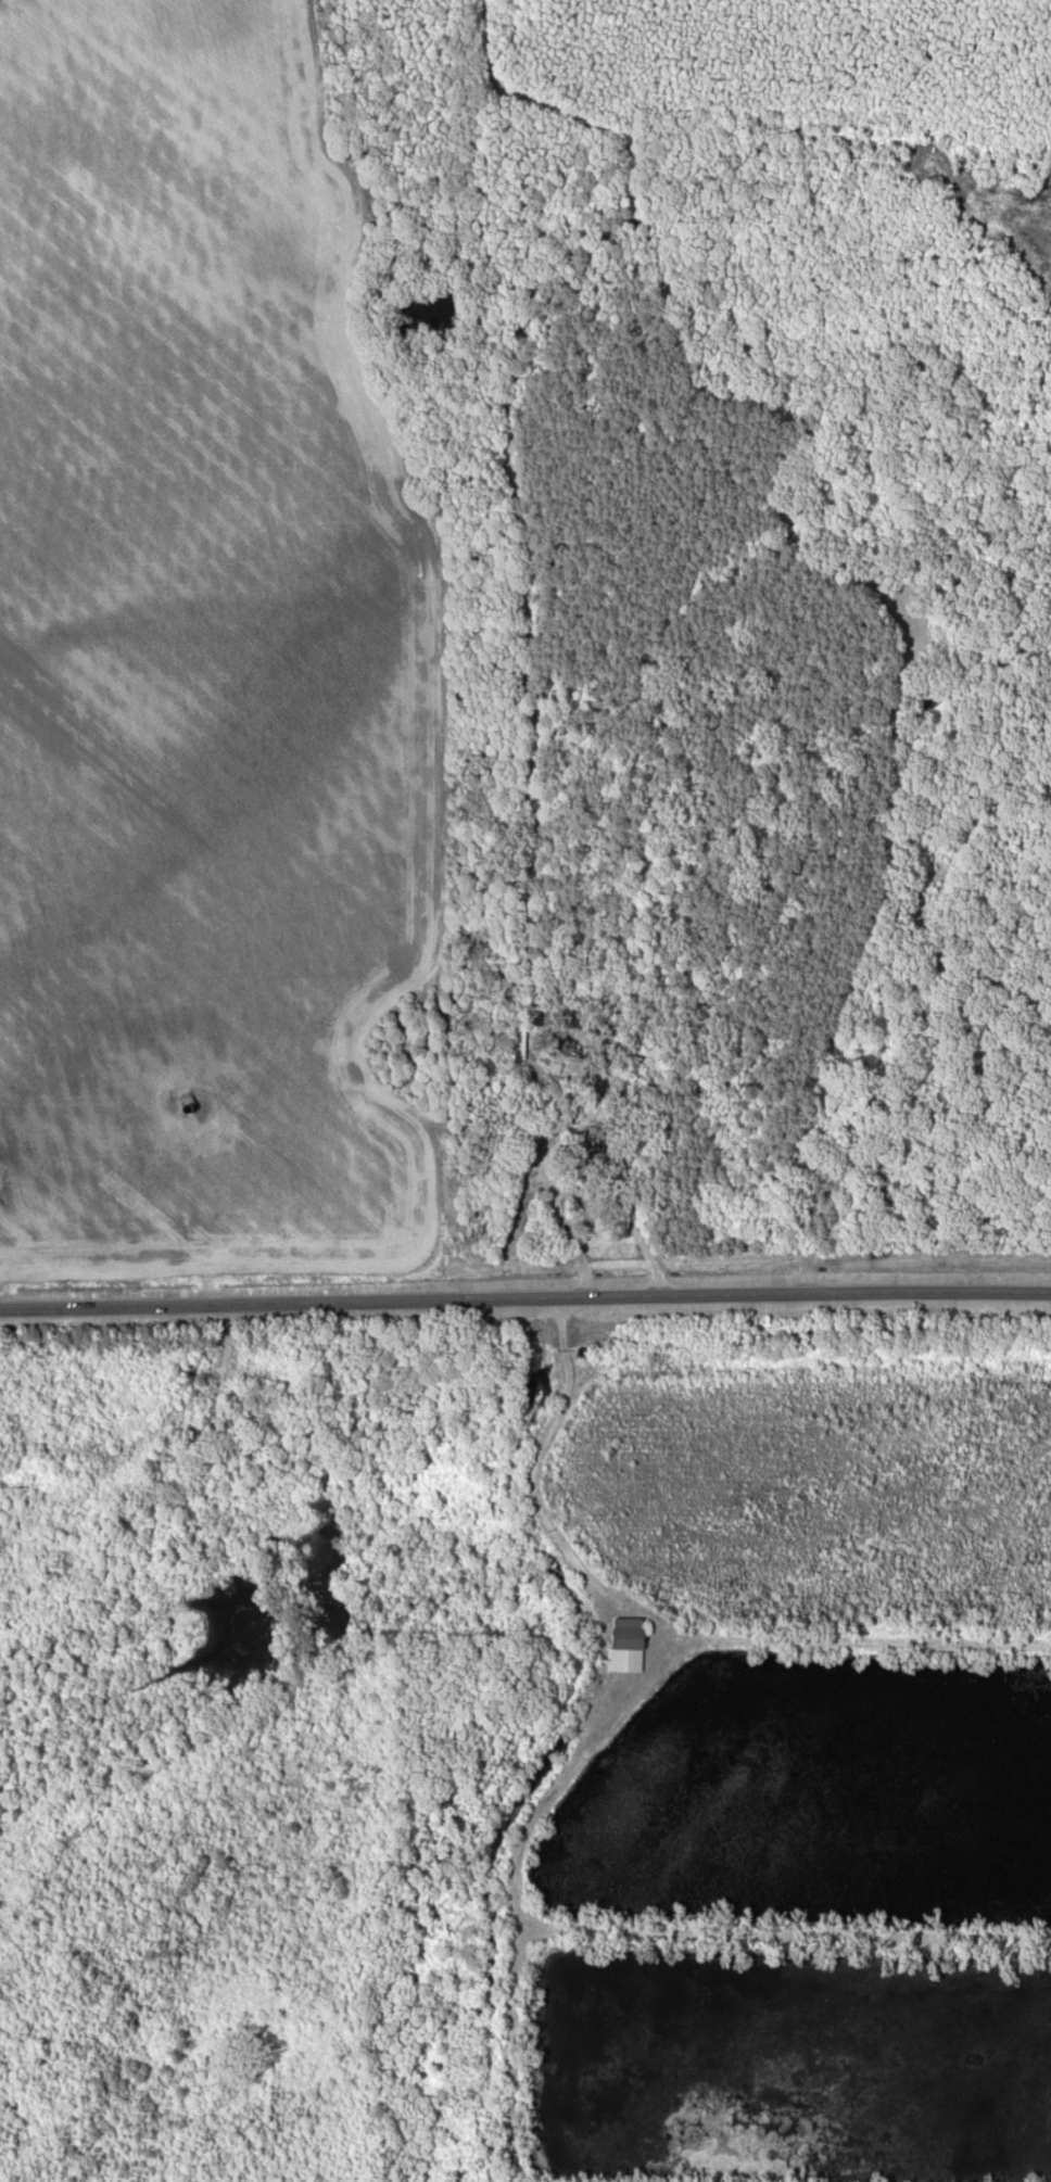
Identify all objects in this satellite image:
road: (809, 1293)
road: (284, 1301)
building: (621, 1642)

